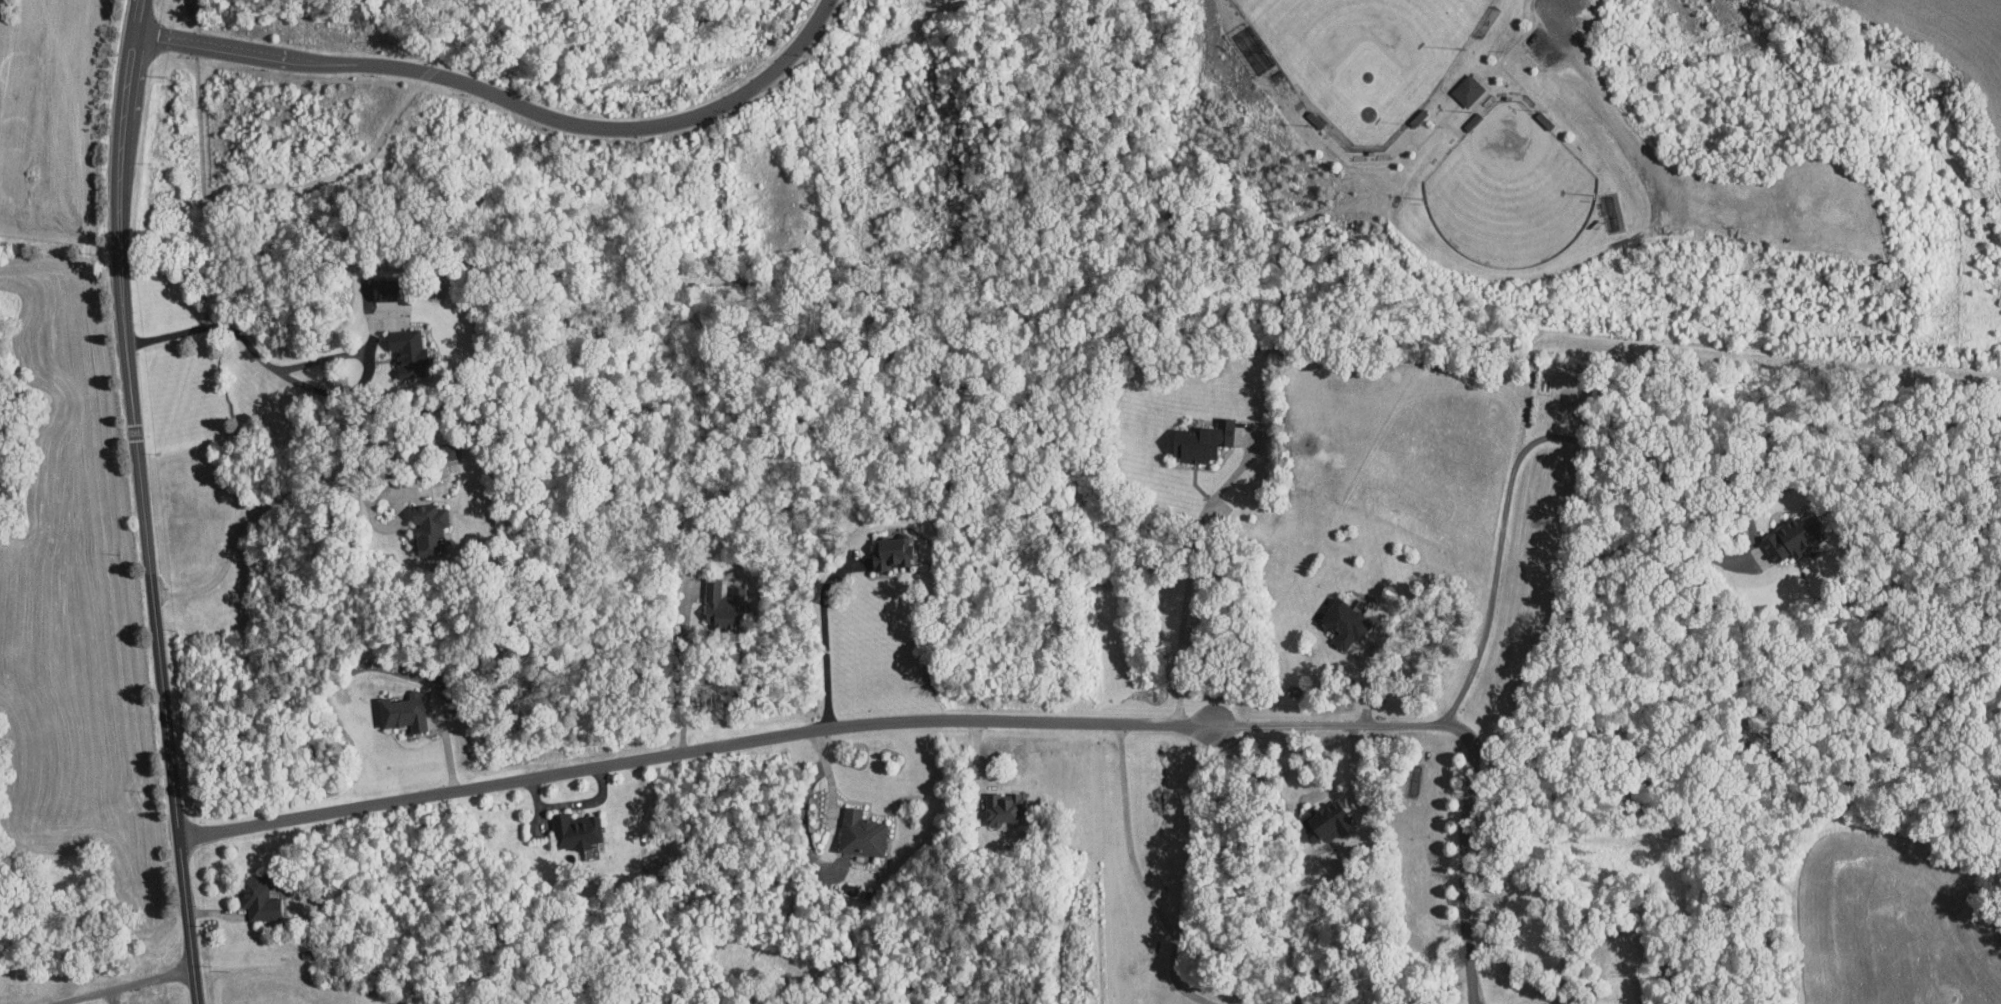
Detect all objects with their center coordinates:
road: (1560, 5)
park: (1365, 56)
road: (1487, 74)
building: (1467, 89)
road: (505, 97)
road: (121, 171)
park: (1509, 188)
building: (408, 353)
road: (296, 365)
road: (1571, 438)
building: (1201, 441)
road: (258, 512)
building: (428, 528)
building: (1787, 539)
building: (890, 552)
road: (1190, 575)
building: (725, 604)
building: (1345, 622)
road: (825, 633)
road: (684, 671)
road: (162, 674)
building: (405, 709)
road: (808, 731)
road: (1355, 766)
road: (830, 774)
building: (1003, 809)
building: (1328, 821)
building: (577, 829)
building: (861, 832)
road: (1463, 855)
road: (1141, 878)
building: (258, 897)
road: (122, 986)
road: (112, 996)

